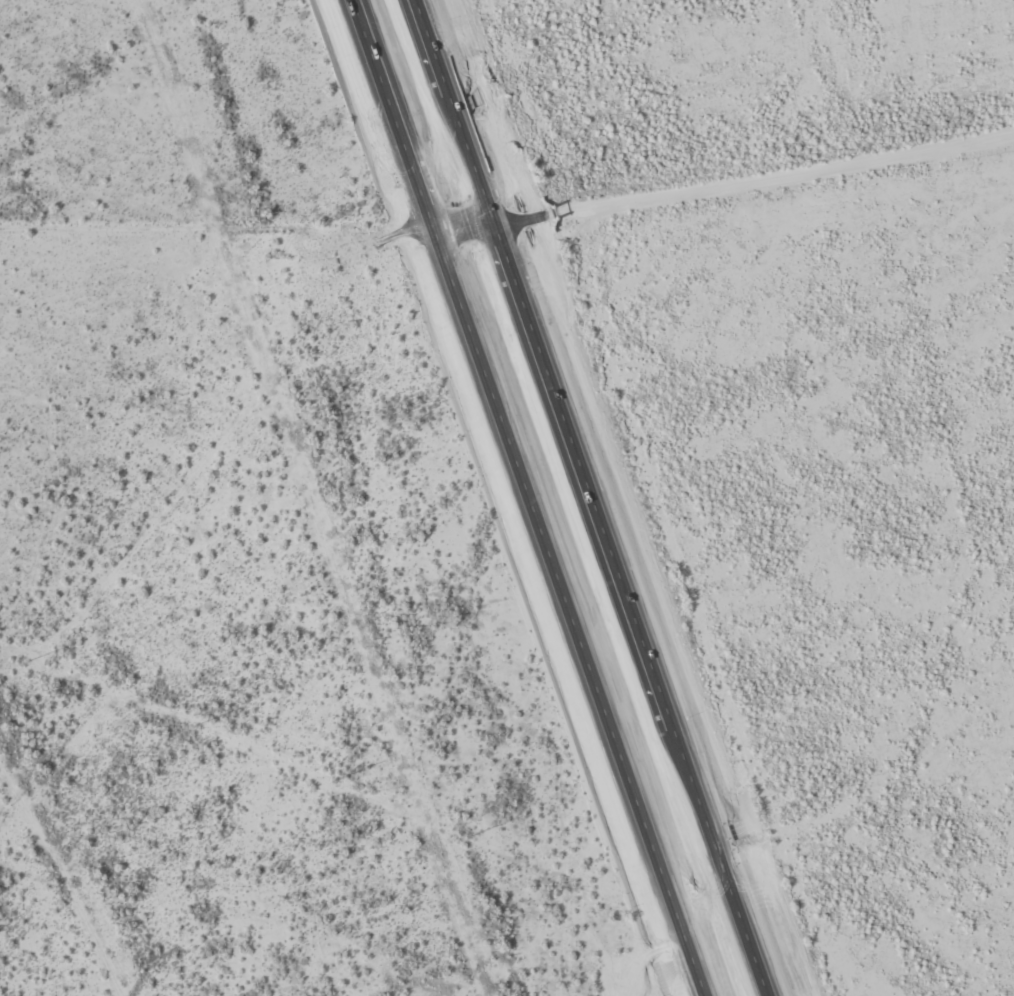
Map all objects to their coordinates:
road: (593, 497)
power tower: (28, 662)
power tower: (194, 727)
power tower: (332, 782)
power tower: (472, 836)
power tower: (656, 909)

